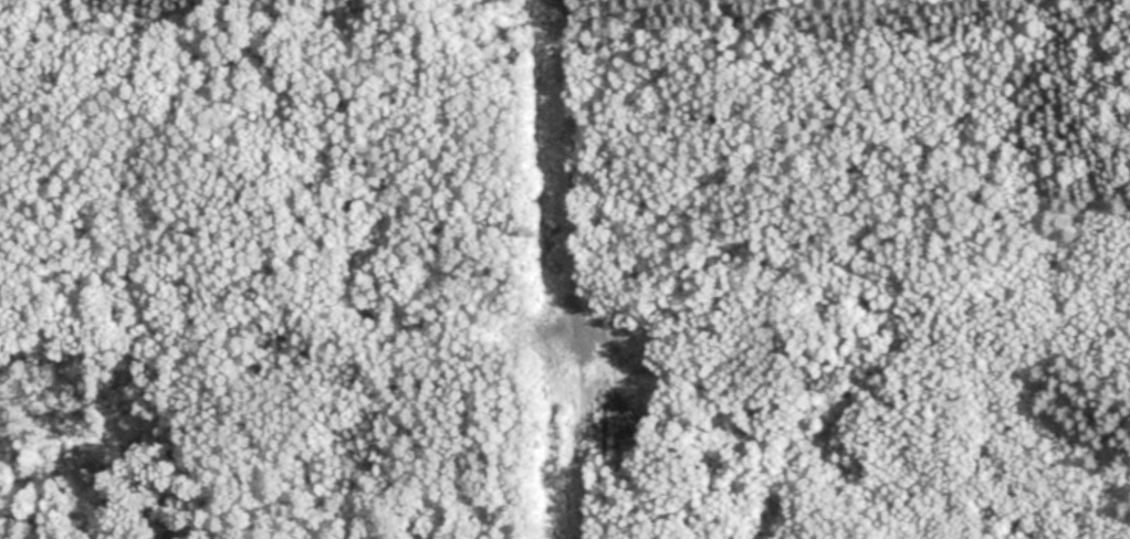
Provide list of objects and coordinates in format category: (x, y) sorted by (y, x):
park: (565, 269)
road: (578, 269)

